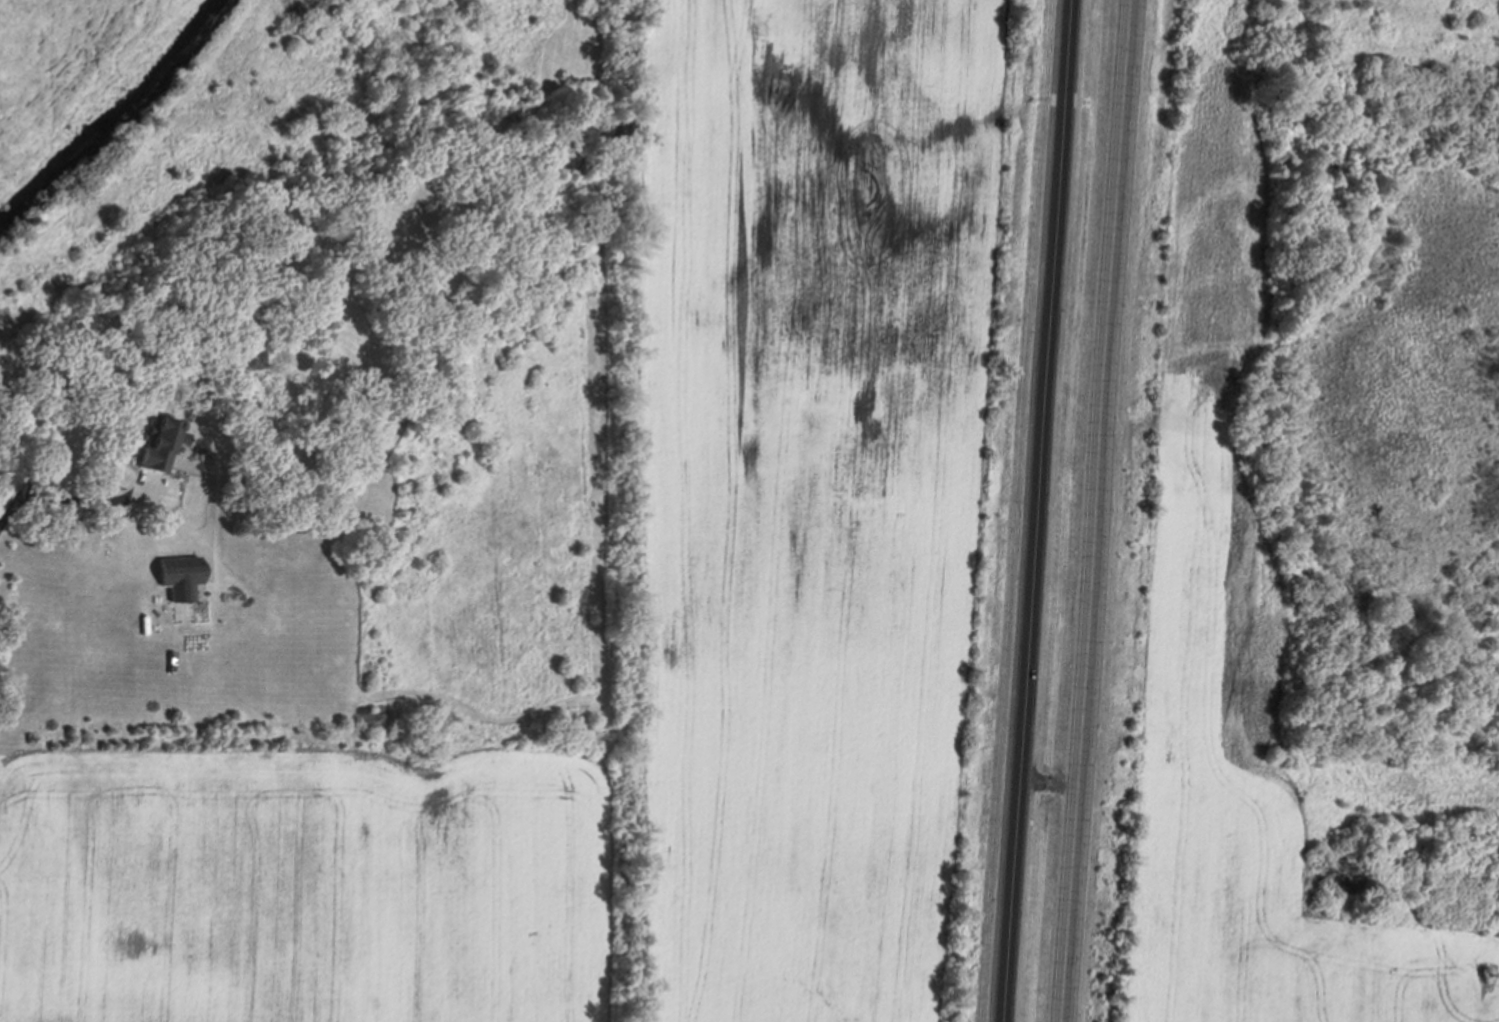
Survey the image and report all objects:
building: (160, 469)
road: (74, 495)
road: (1037, 511)
road: (1098, 511)
building: (181, 577)

